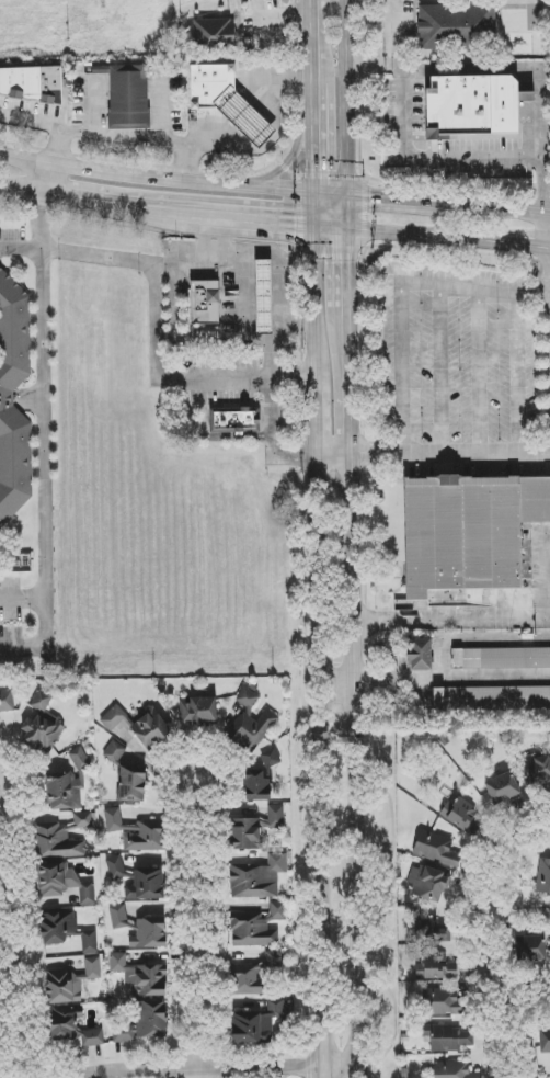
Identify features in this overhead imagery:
power tower: (100, 5)
road: (280, 16)
building: (454, 24)
road: (393, 31)
building: (214, 33)
road: (513, 68)
road: (275, 79)
building: (31, 83)
building: (129, 98)
road: (347, 99)
building: (227, 101)
building: (473, 105)
road: (244, 117)
road: (114, 133)
road: (210, 134)
road: (54, 147)
road: (428, 158)
traffic signals: (318, 171)
road: (159, 180)
road: (46, 181)
road: (22, 193)
traffic signals: (370, 200)
road: (377, 200)
road: (119, 209)
road: (493, 211)
road: (43, 224)
road: (257, 225)
traffic signals: (293, 228)
road: (334, 230)
road: (449, 239)
road: (351, 256)
road: (181, 261)
road: (277, 261)
traffic signals: (352, 266)
road: (545, 275)
road: (475, 288)
building: (263, 297)
building: (205, 302)
building: (207, 339)
road: (271, 352)
road: (400, 371)
road: (295, 376)
road: (165, 381)
road: (354, 386)
building: (7, 399)
road: (45, 402)
building: (232, 421)
road: (452, 454)
road: (340, 457)
building: (469, 531)
road: (326, 538)
road: (532, 574)
road: (23, 599)
road: (456, 623)
road: (345, 625)
road: (47, 646)
building: (420, 655)
building: (501, 658)
road: (455, 677)
road: (345, 685)
building: (492, 699)
building: (7, 700)
building: (198, 711)
building: (250, 724)
building: (42, 726)
building: (139, 726)
building: (115, 752)
building: (78, 757)
road: (362, 760)
building: (535, 770)
building: (259, 776)
building: (131, 783)
building: (502, 787)
building: (65, 790)
building: (459, 814)
building: (275, 817)
building: (83, 820)
road: (537, 827)
building: (137, 832)
building: (244, 835)
building: (56, 843)
building: (435, 849)
building: (543, 876)
building: (257, 878)
building: (138, 881)
building: (62, 883)
building: (426, 883)
building: (118, 917)
building: (57, 927)
building: (256, 927)
road: (188, 928)
building: (429, 931)
building: (149, 933)
building: (90, 942)
road: (484, 946)
building: (530, 949)
road: (7, 957)
building: (435, 967)
building: (254, 975)
building: (140, 976)
building: (71, 983)
building: (443, 1002)
road: (524, 1002)
building: (151, 1019)
building: (256, 1024)
building: (73, 1029)
building: (124, 1032)
building: (449, 1037)
building: (545, 1040)
road: (222, 1067)
road: (363, 1070)
building: (454, 1070)

